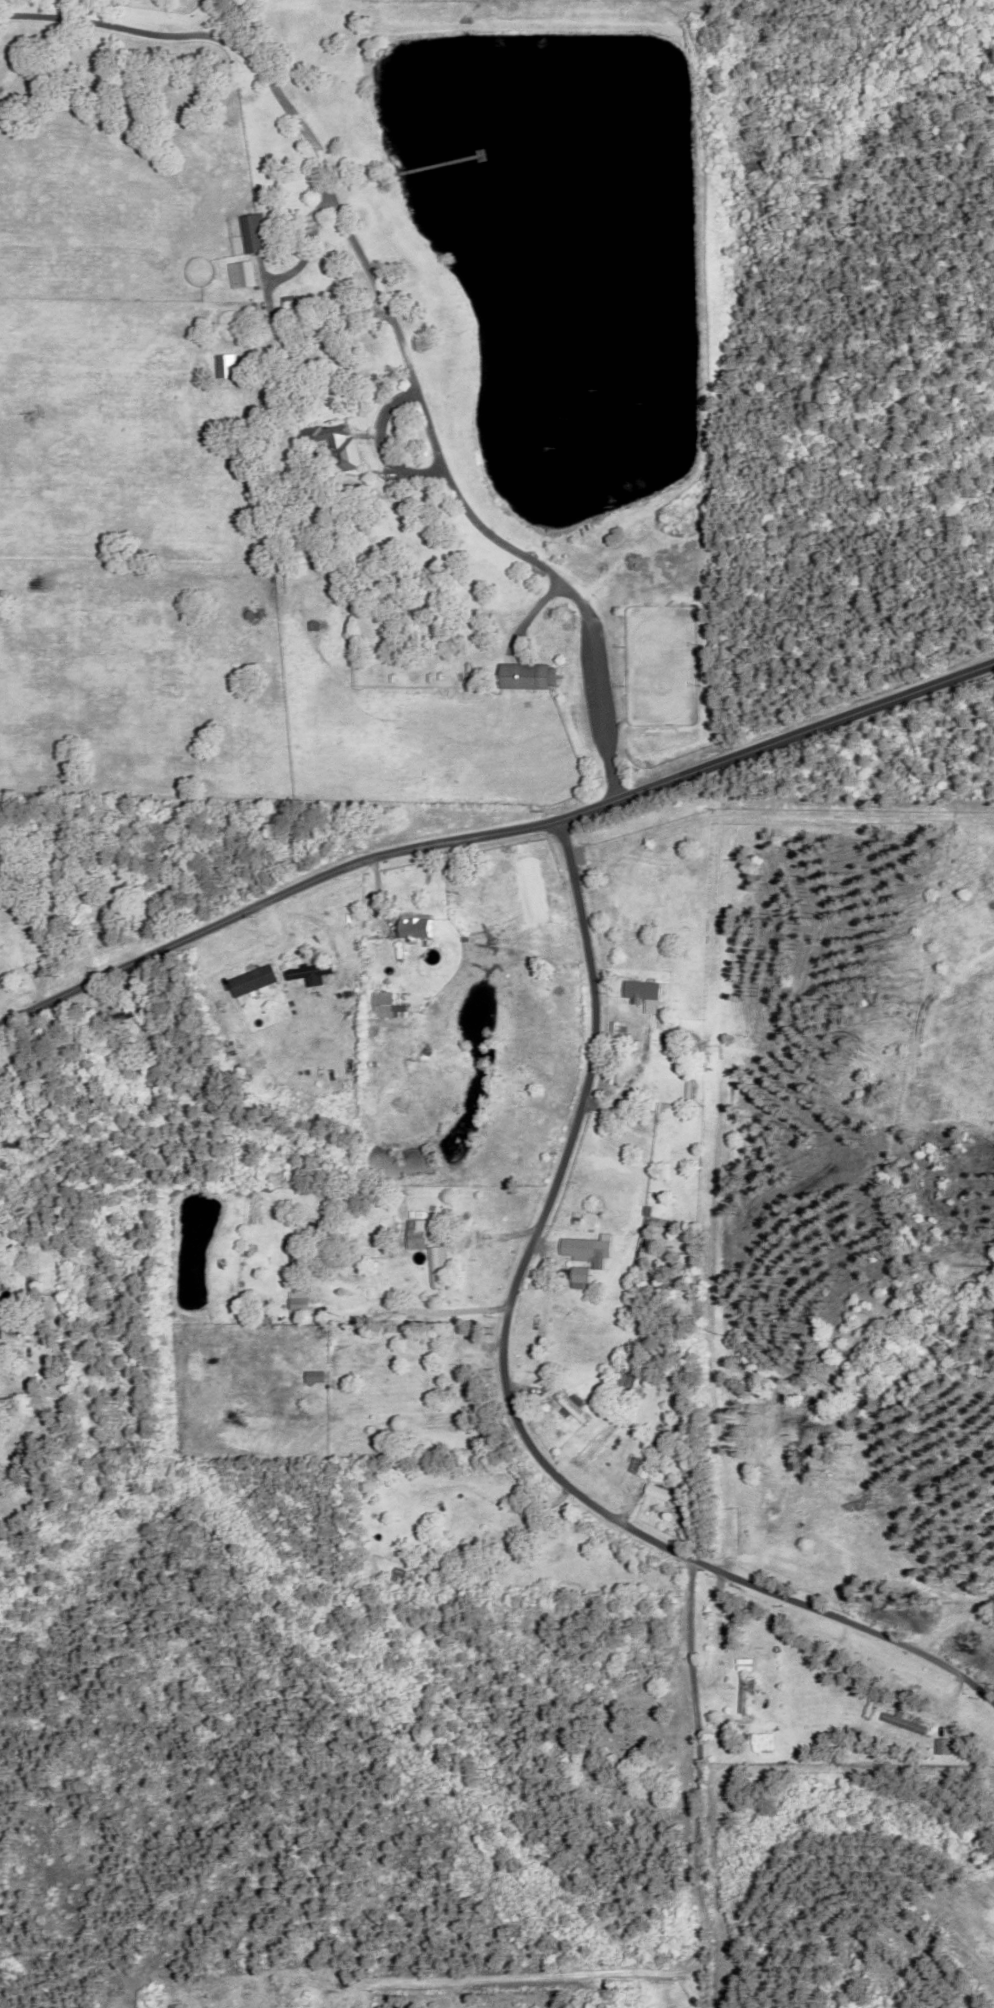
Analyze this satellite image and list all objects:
road: (216, 20)
building: (257, 231)
building: (244, 273)
building: (287, 298)
road: (392, 320)
building: (335, 443)
building: (527, 676)
road: (493, 837)
building: (3, 883)
building: (57, 890)
building: (80, 902)
building: (414, 927)
building: (309, 972)
building: (253, 981)
building: (645, 995)
building: (381, 1002)
building: (132, 1010)
building: (673, 1043)
building: (644, 1069)
building: (661, 1083)
building: (12, 1141)
building: (427, 1210)
building: (295, 1231)
building: (418, 1235)
building: (587, 1248)
building: (295, 1264)
building: (435, 1265)
building: (30, 1276)
building: (580, 1276)
building: (351, 1298)
building: (9, 1324)
building: (429, 1390)
road: (509, 1397)
building: (570, 1406)
building: (644, 1465)
building: (666, 1495)
building: (452, 1527)
building: (504, 1527)
building: (573, 1567)
building: (443, 1573)
road: (947, 1618)
road: (720, 1621)
building: (742, 1695)
building: (943, 1746)
building: (618, 1771)
road: (701, 1783)
road: (527, 1976)
building: (305, 1992)
building: (178, 2006)

